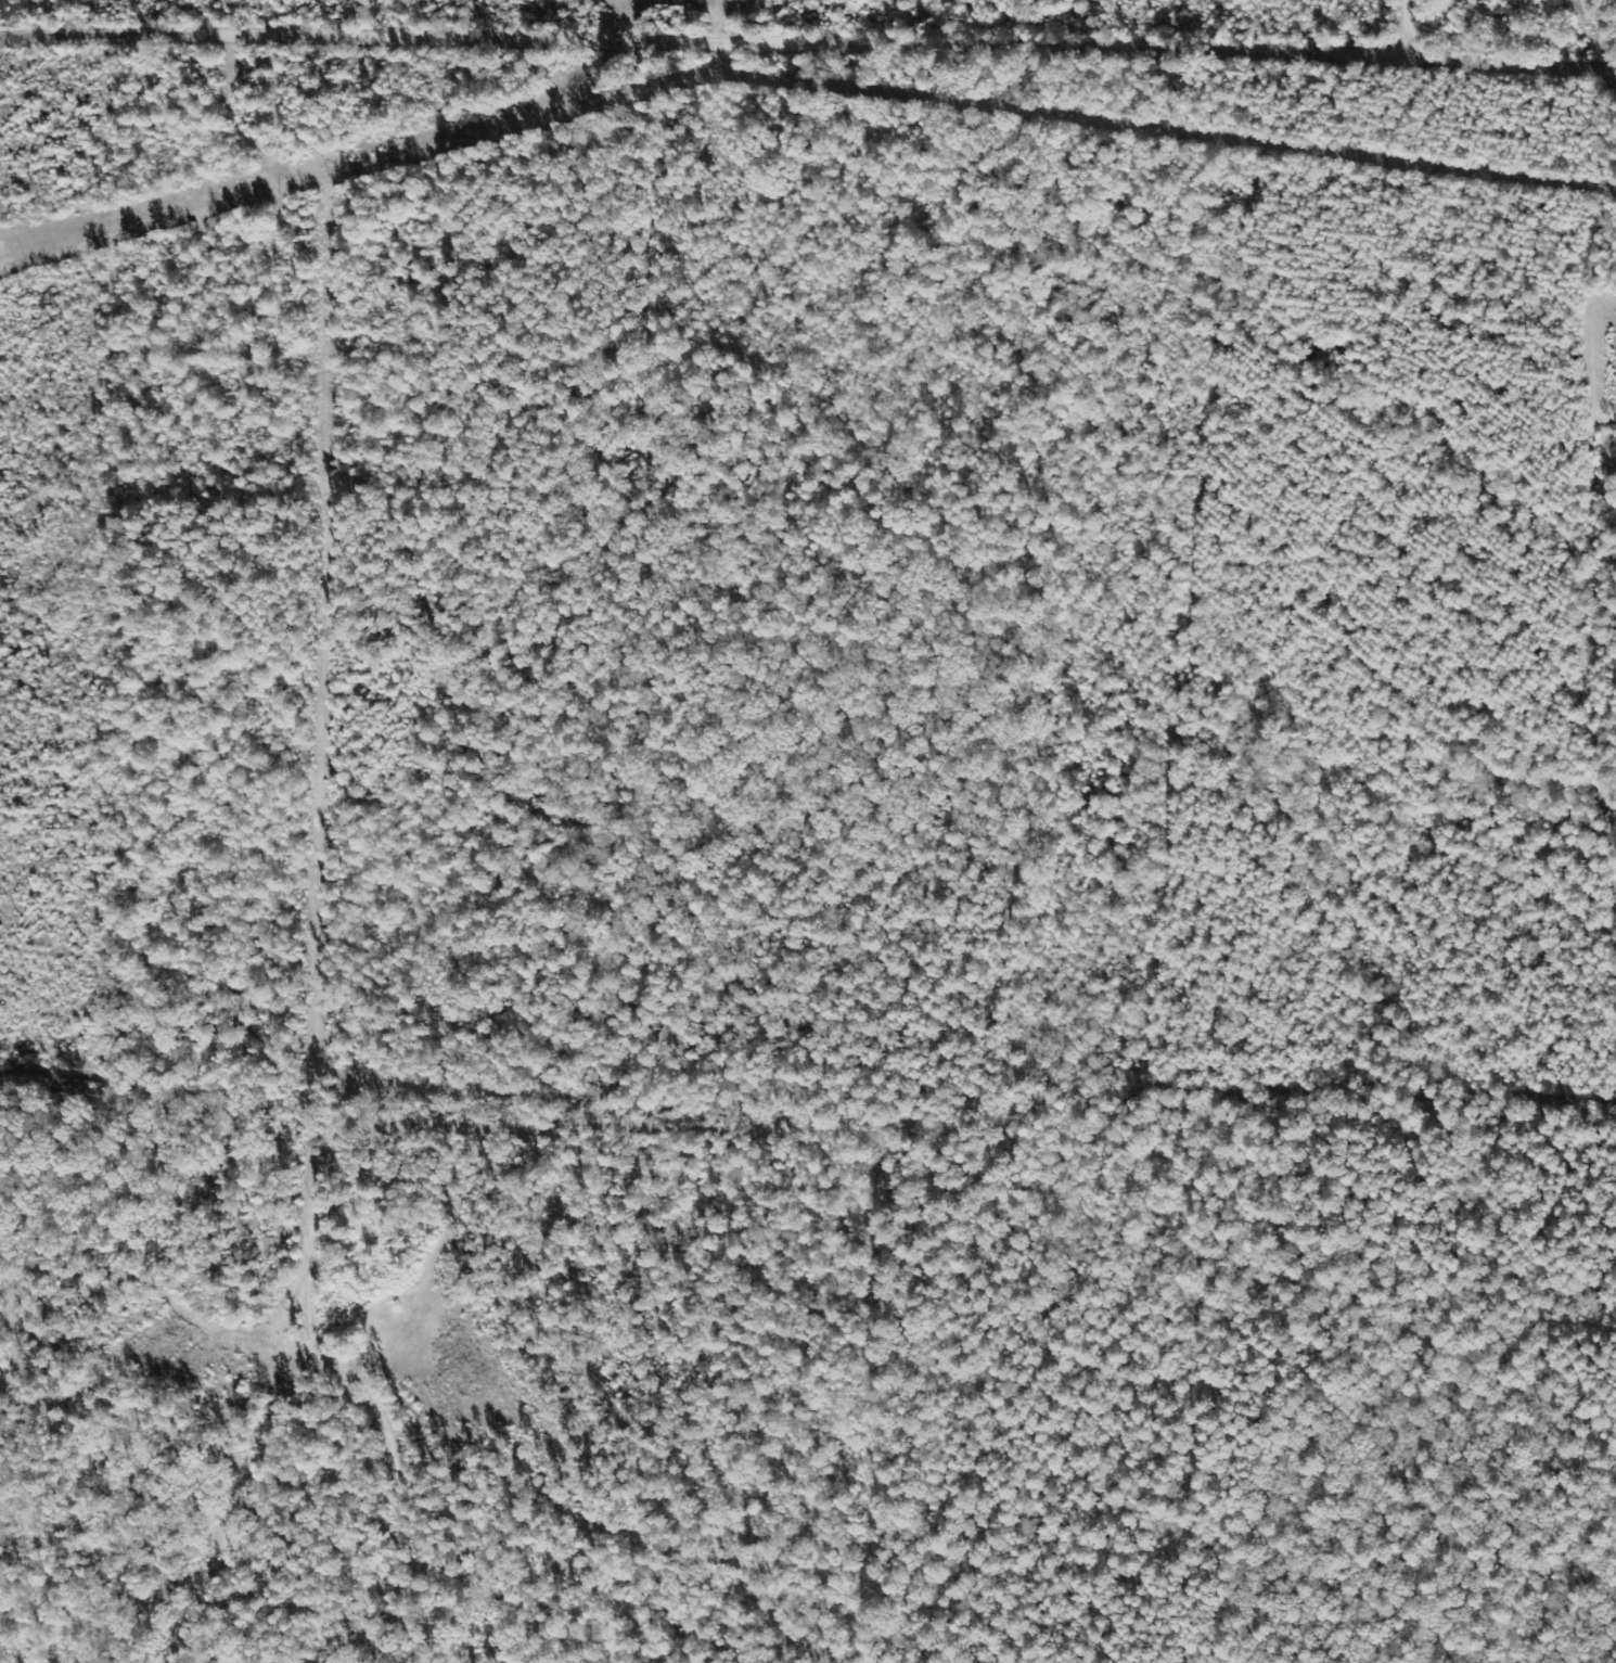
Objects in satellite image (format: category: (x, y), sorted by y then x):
road: (1415, 27)
road: (808, 43)

